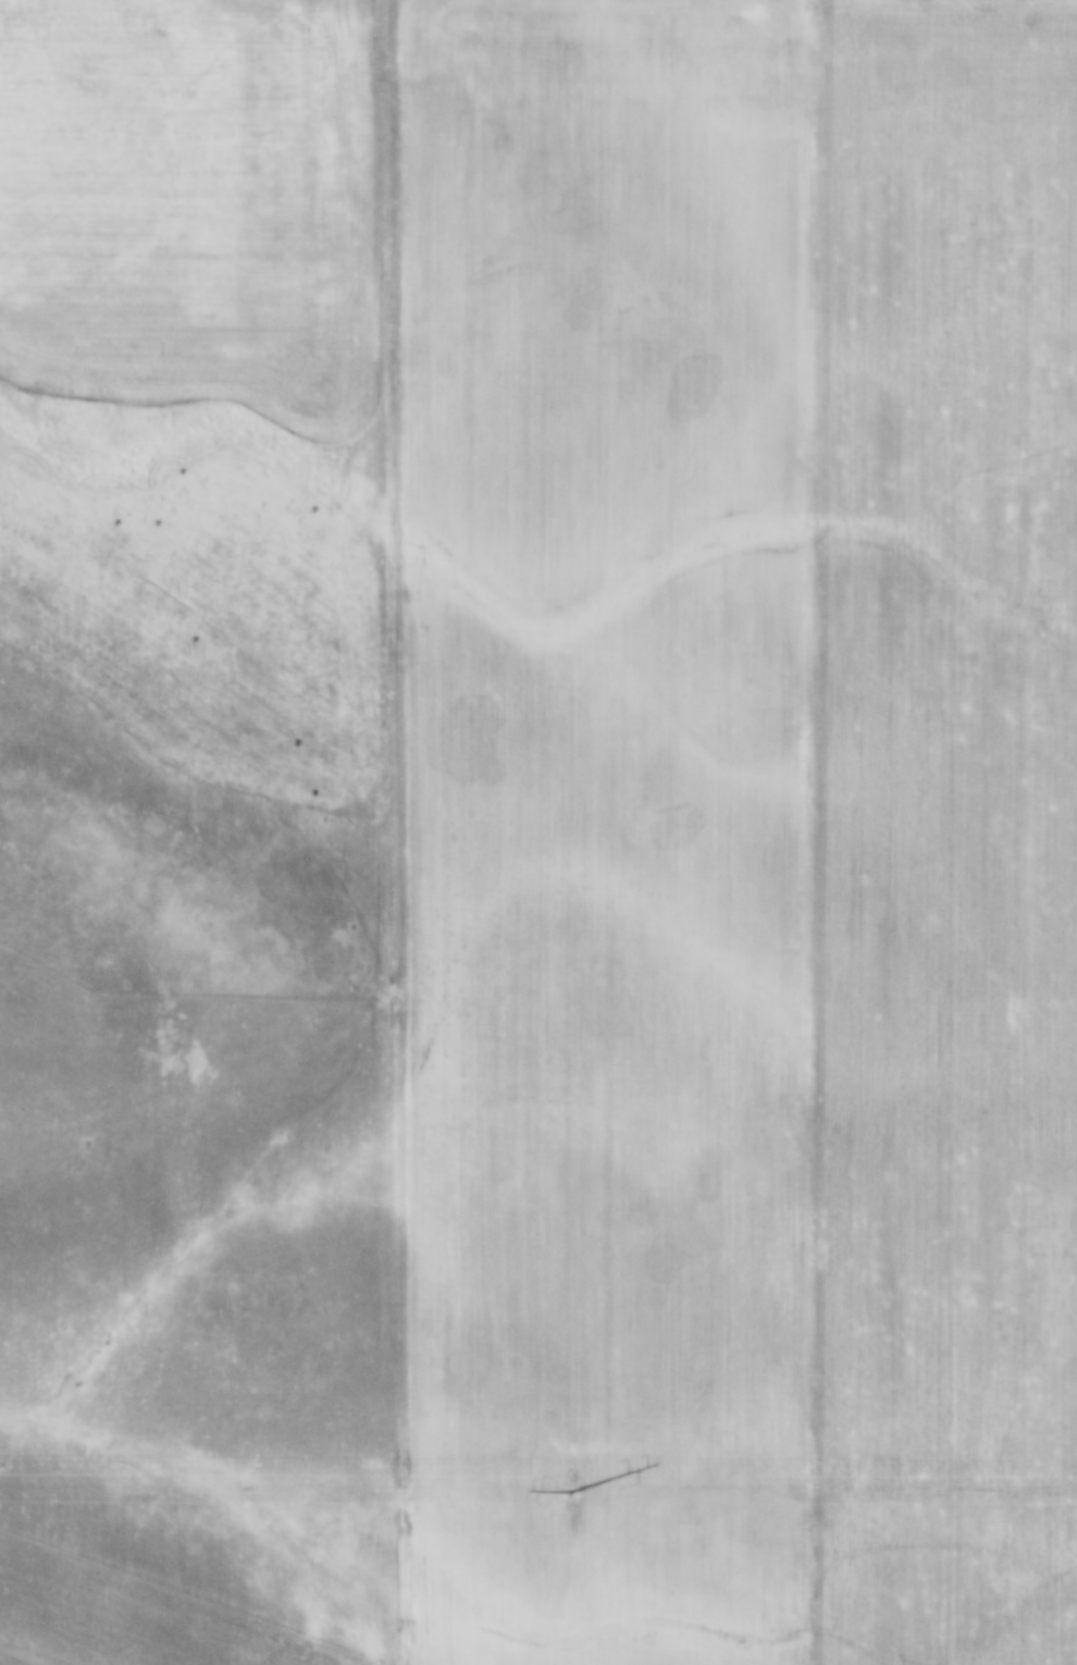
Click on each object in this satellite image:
road: (403, 832)
power tower: (559, 1491)

